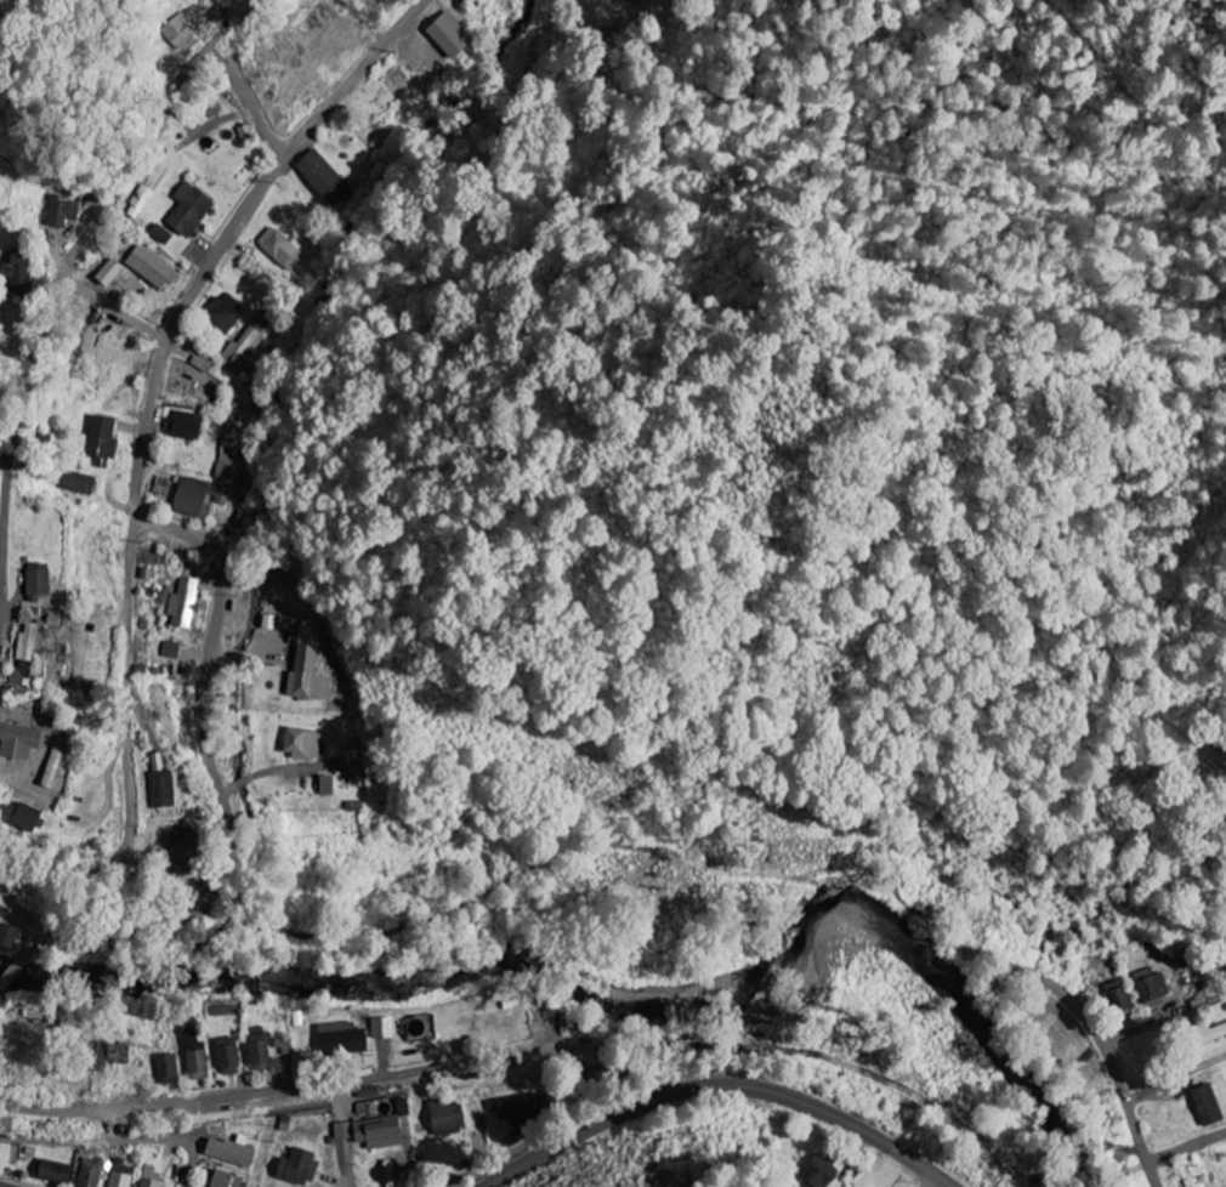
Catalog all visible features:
building: (384, 5)
road: (214, 27)
building: (174, 32)
building: (453, 35)
road: (250, 104)
road: (135, 152)
road: (282, 160)
building: (325, 178)
building: (136, 203)
building: (191, 210)
building: (63, 211)
building: (163, 234)
building: (282, 249)
building: (152, 266)
building: (15, 272)
building: (112, 272)
road: (63, 273)
road: (118, 311)
building: (225, 311)
building: (246, 343)
building: (204, 360)
park: (2, 420)
building: (185, 425)
road: (147, 431)
building: (104, 439)
building: (227, 450)
road: (11, 453)
building: (76, 482)
building: (163, 487)
building: (199, 498)
road: (166, 526)
building: (40, 581)
building: (183, 602)
building: (38, 637)
building: (171, 649)
road: (232, 654)
building: (306, 661)
building: (23, 674)
building: (19, 742)
building: (301, 743)
road: (127, 749)
building: (356, 762)
building: (55, 765)
building: (329, 785)
building: (163, 790)
building: (29, 818)
road: (227, 825)
building: (186, 850)
building: (8, 931)
building: (1148, 989)
building: (1114, 995)
building: (44, 1015)
building: (385, 1027)
road: (1126, 1033)
building: (1204, 1033)
building: (344, 1039)
building: (284, 1044)
building: (117, 1052)
building: (261, 1052)
building: (198, 1055)
building: (229, 1056)
building: (170, 1068)
road: (1118, 1075)
road: (1176, 1078)
road: (719, 1086)
road: (250, 1096)
building: (1202, 1104)
building: (518, 1108)
building: (448, 1115)
building: (381, 1131)
road: (123, 1138)
road: (1187, 1147)
building: (238, 1149)
power tower: (654, 1160)
building: (300, 1166)
road: (348, 1168)
building: (55, 1170)
building: (815, 1170)
building: (91, 1172)
building: (121, 1174)
road: (464, 1174)
building: (154, 1177)
building: (229, 1180)
road: (937, 1183)
building: (1187, 1183)

